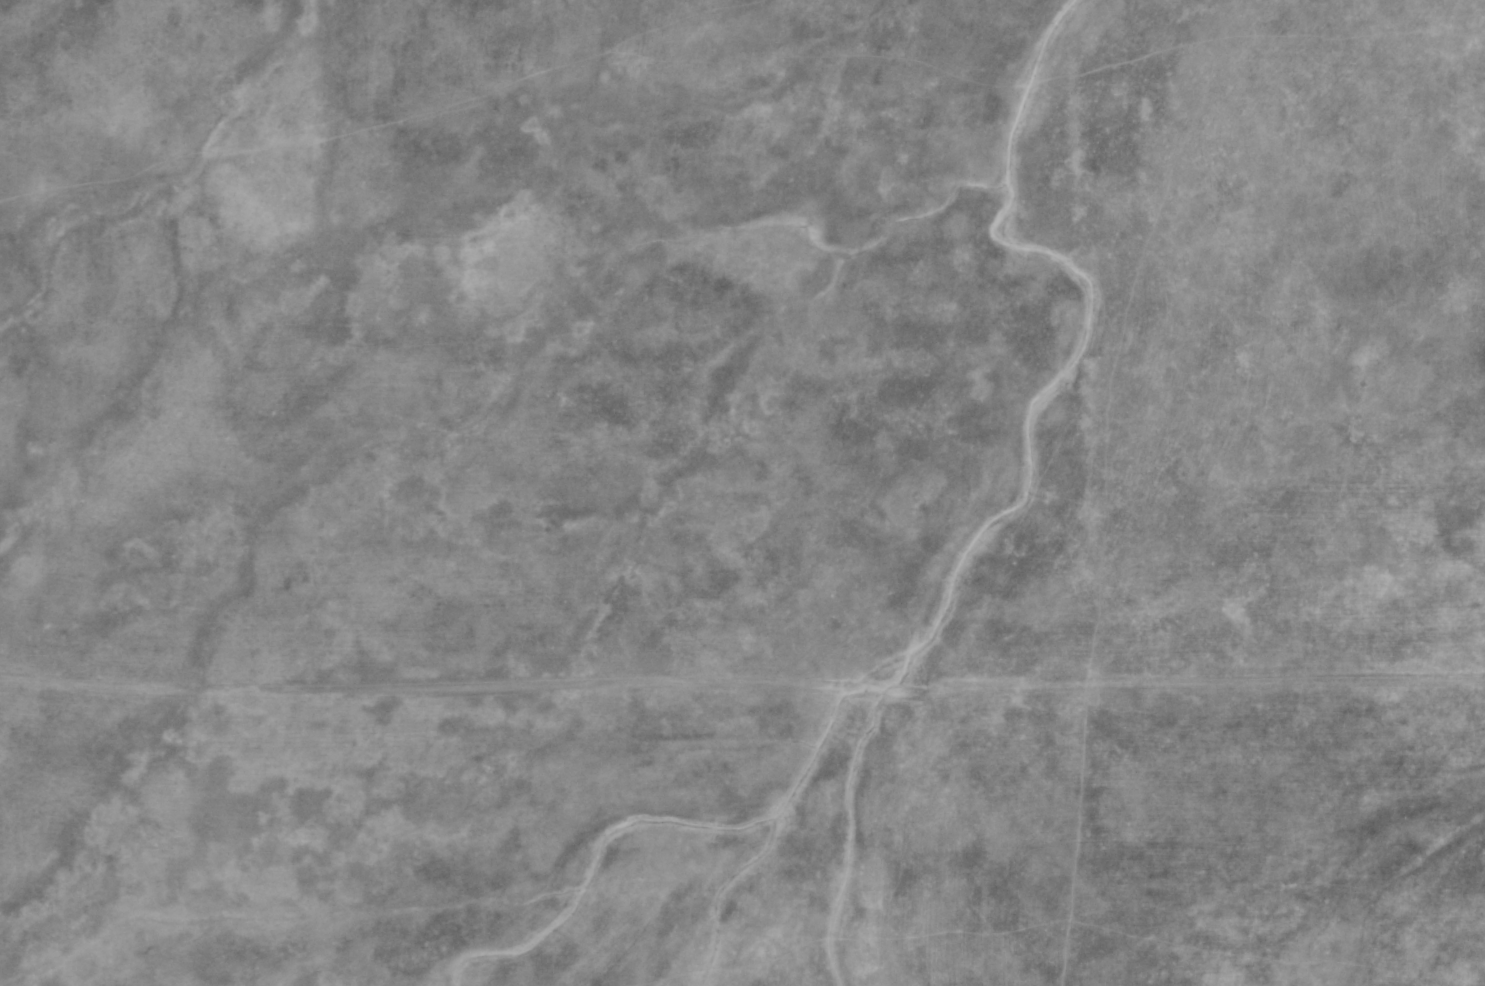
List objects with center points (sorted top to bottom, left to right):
road: (742, 685)

